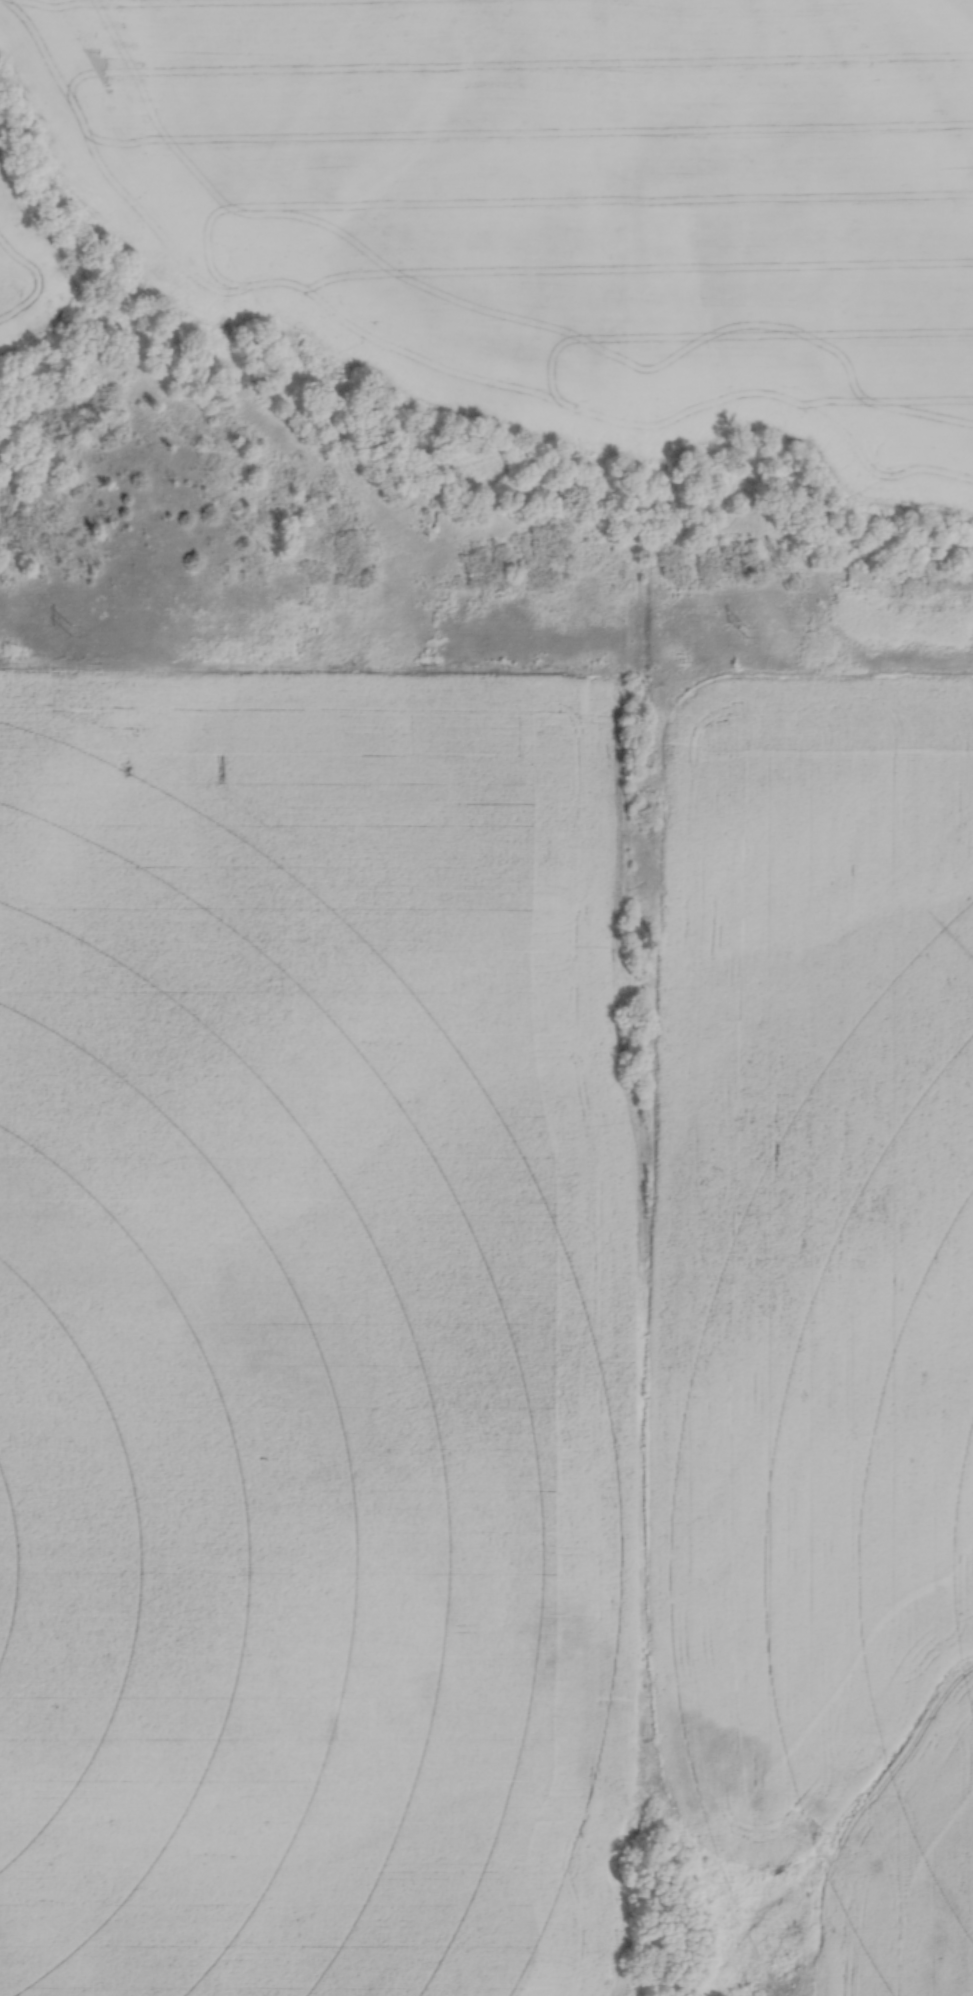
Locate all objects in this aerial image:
power tower: (71, 628)
power tower: (746, 629)

